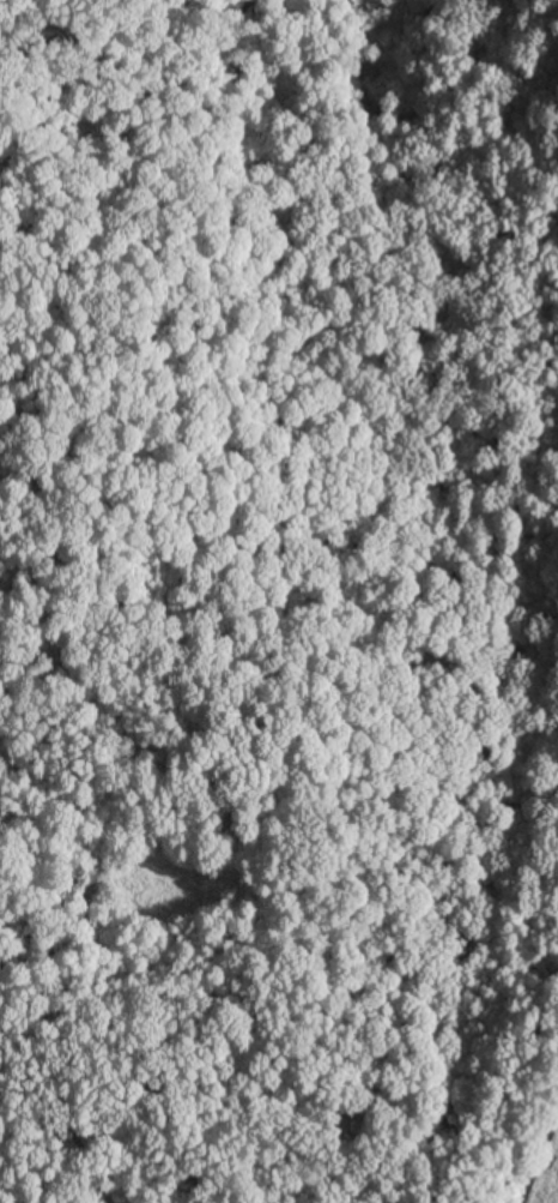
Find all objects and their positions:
crop: (542, 1156)

